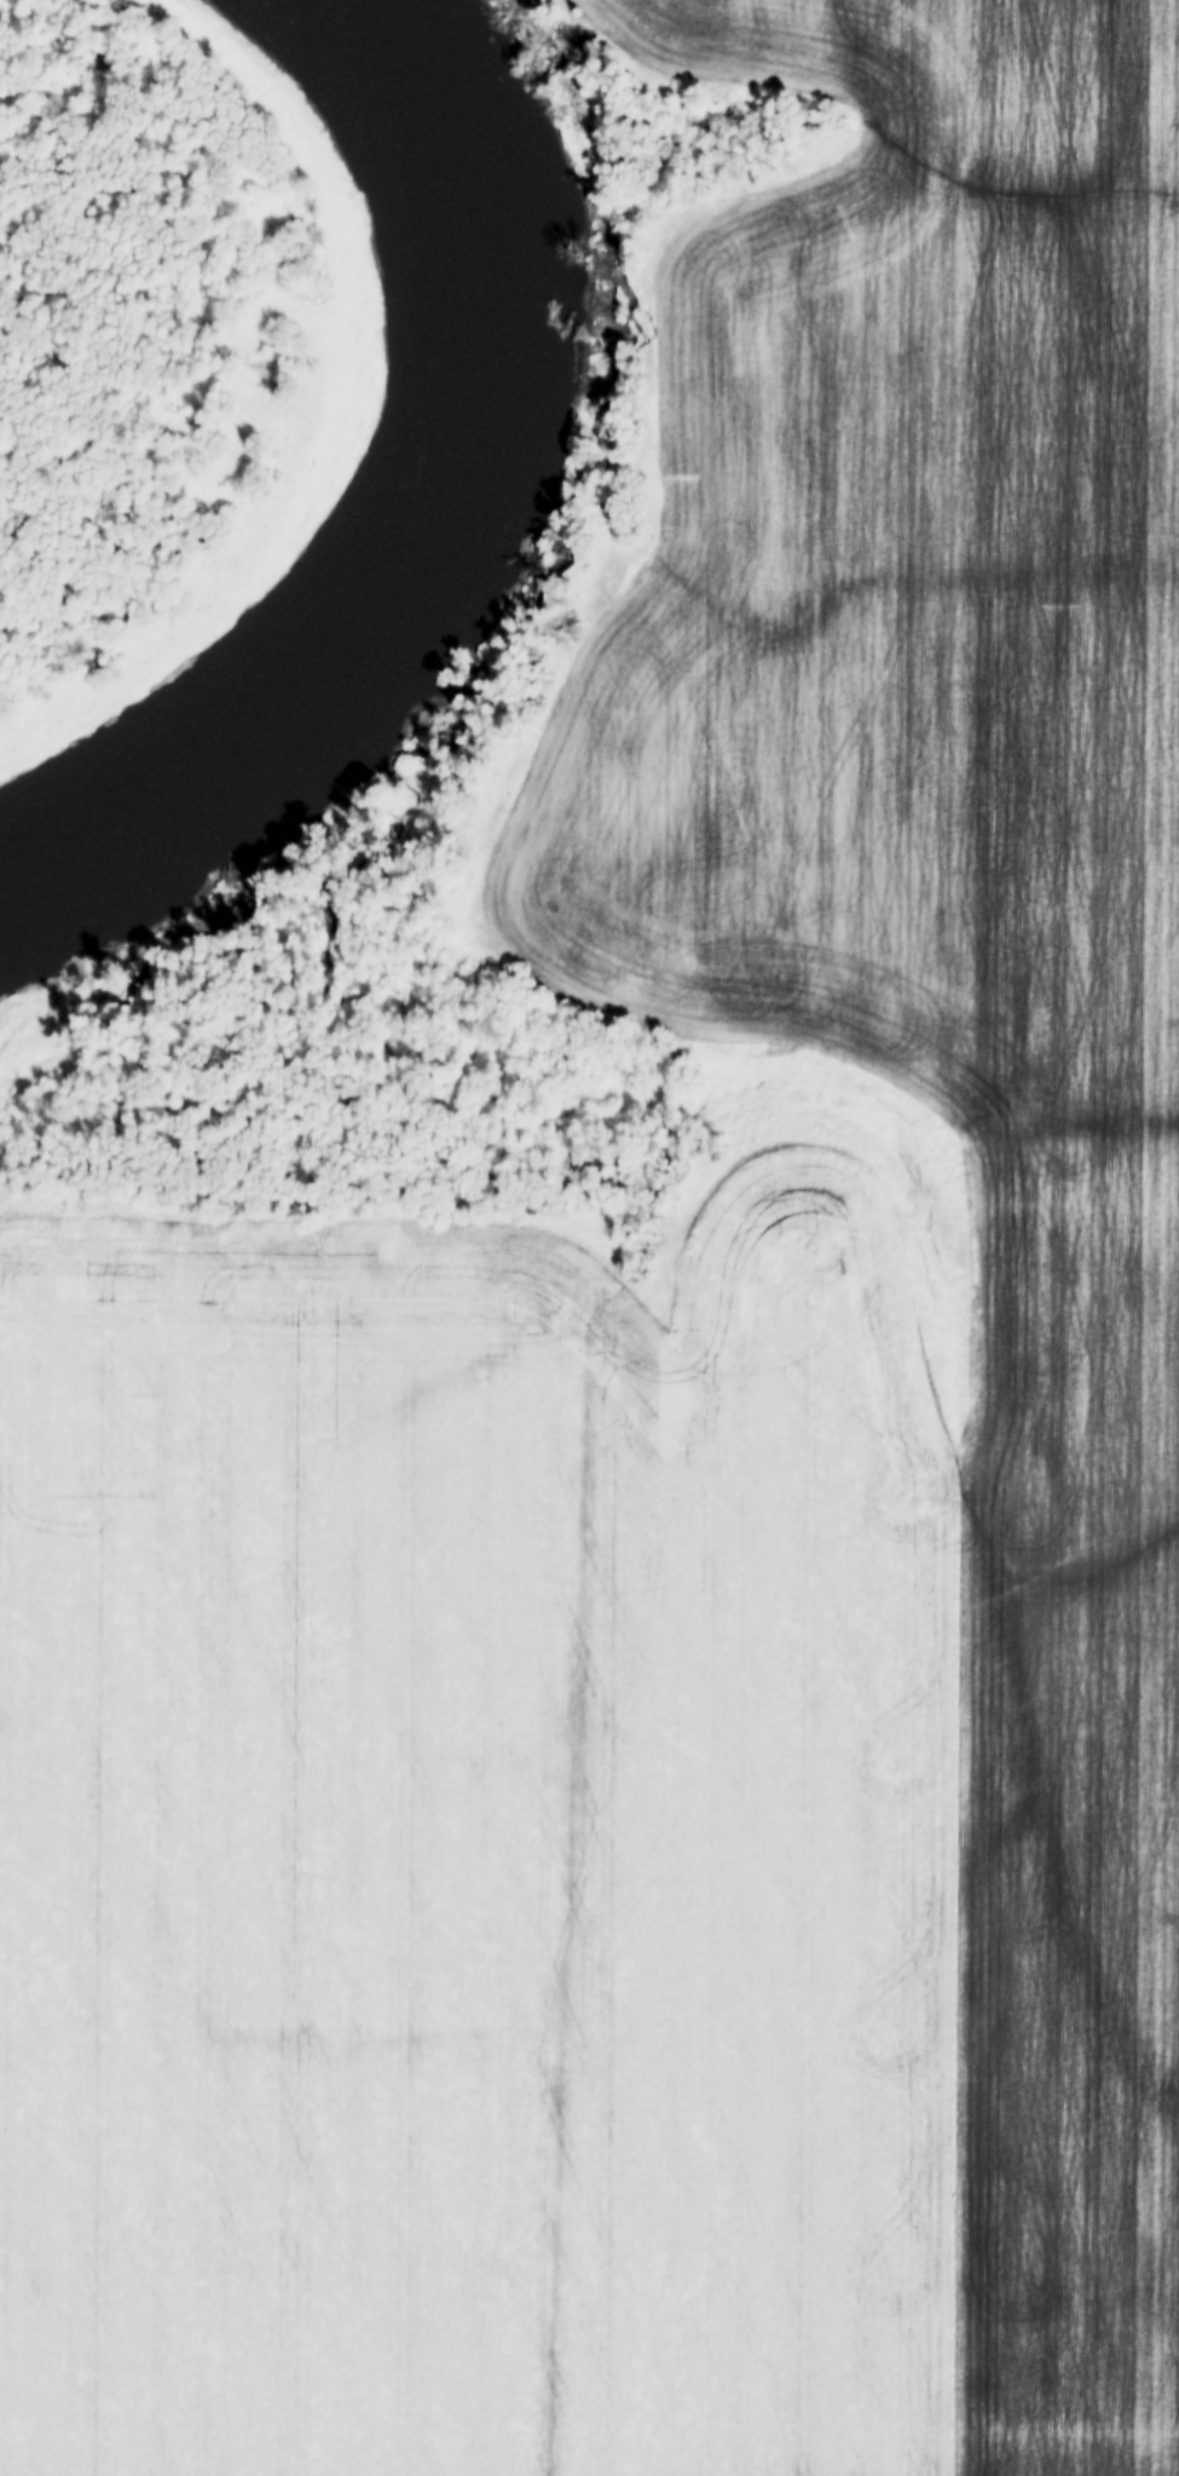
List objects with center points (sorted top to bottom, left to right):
river: (432, 524)

